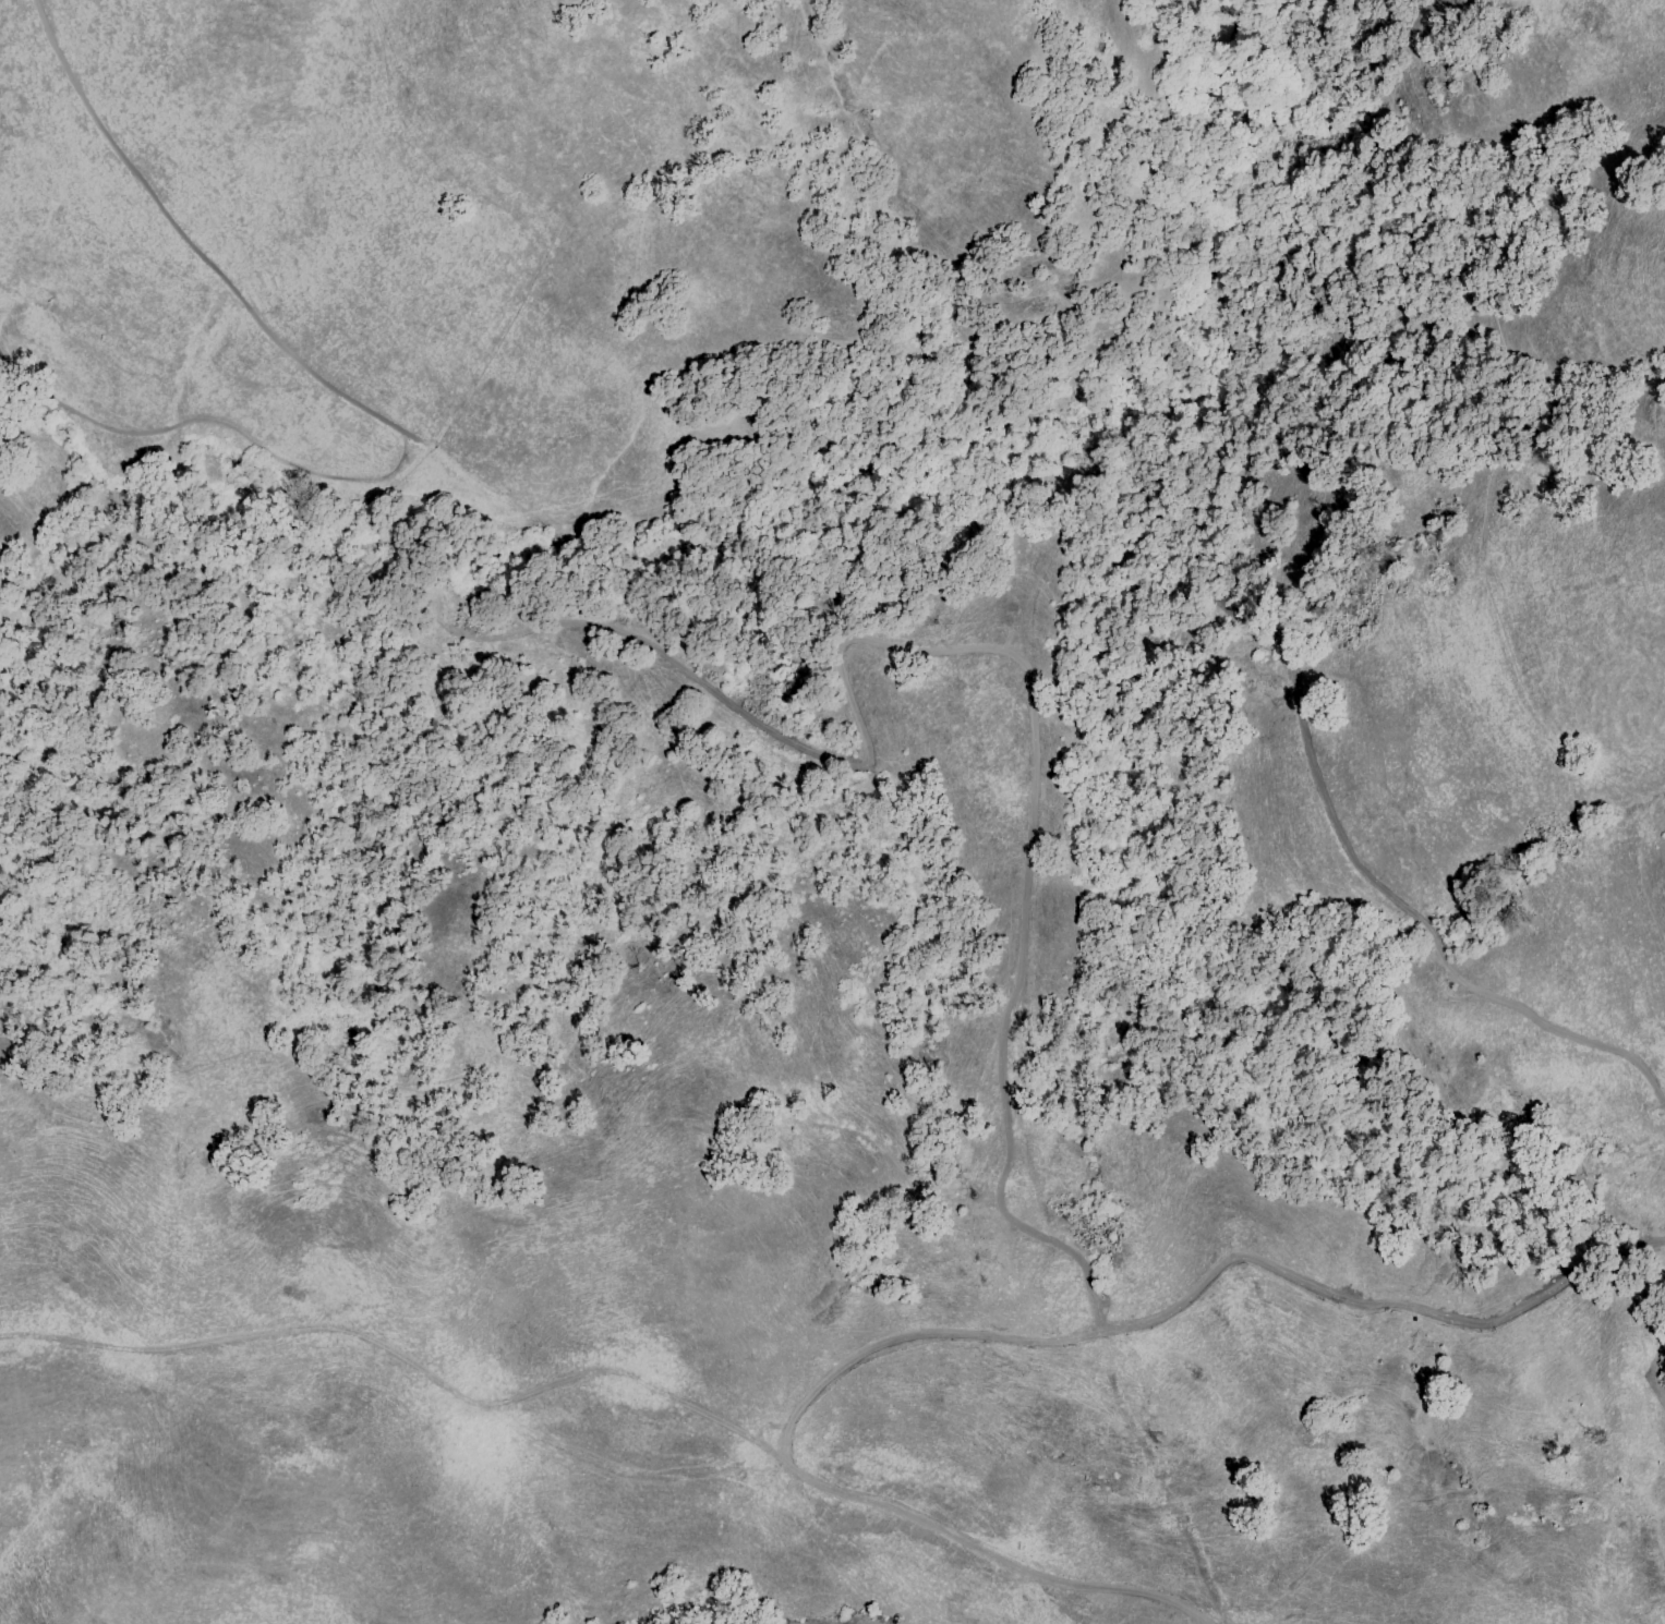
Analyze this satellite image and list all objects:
road: (354, 407)
road: (829, 1373)

